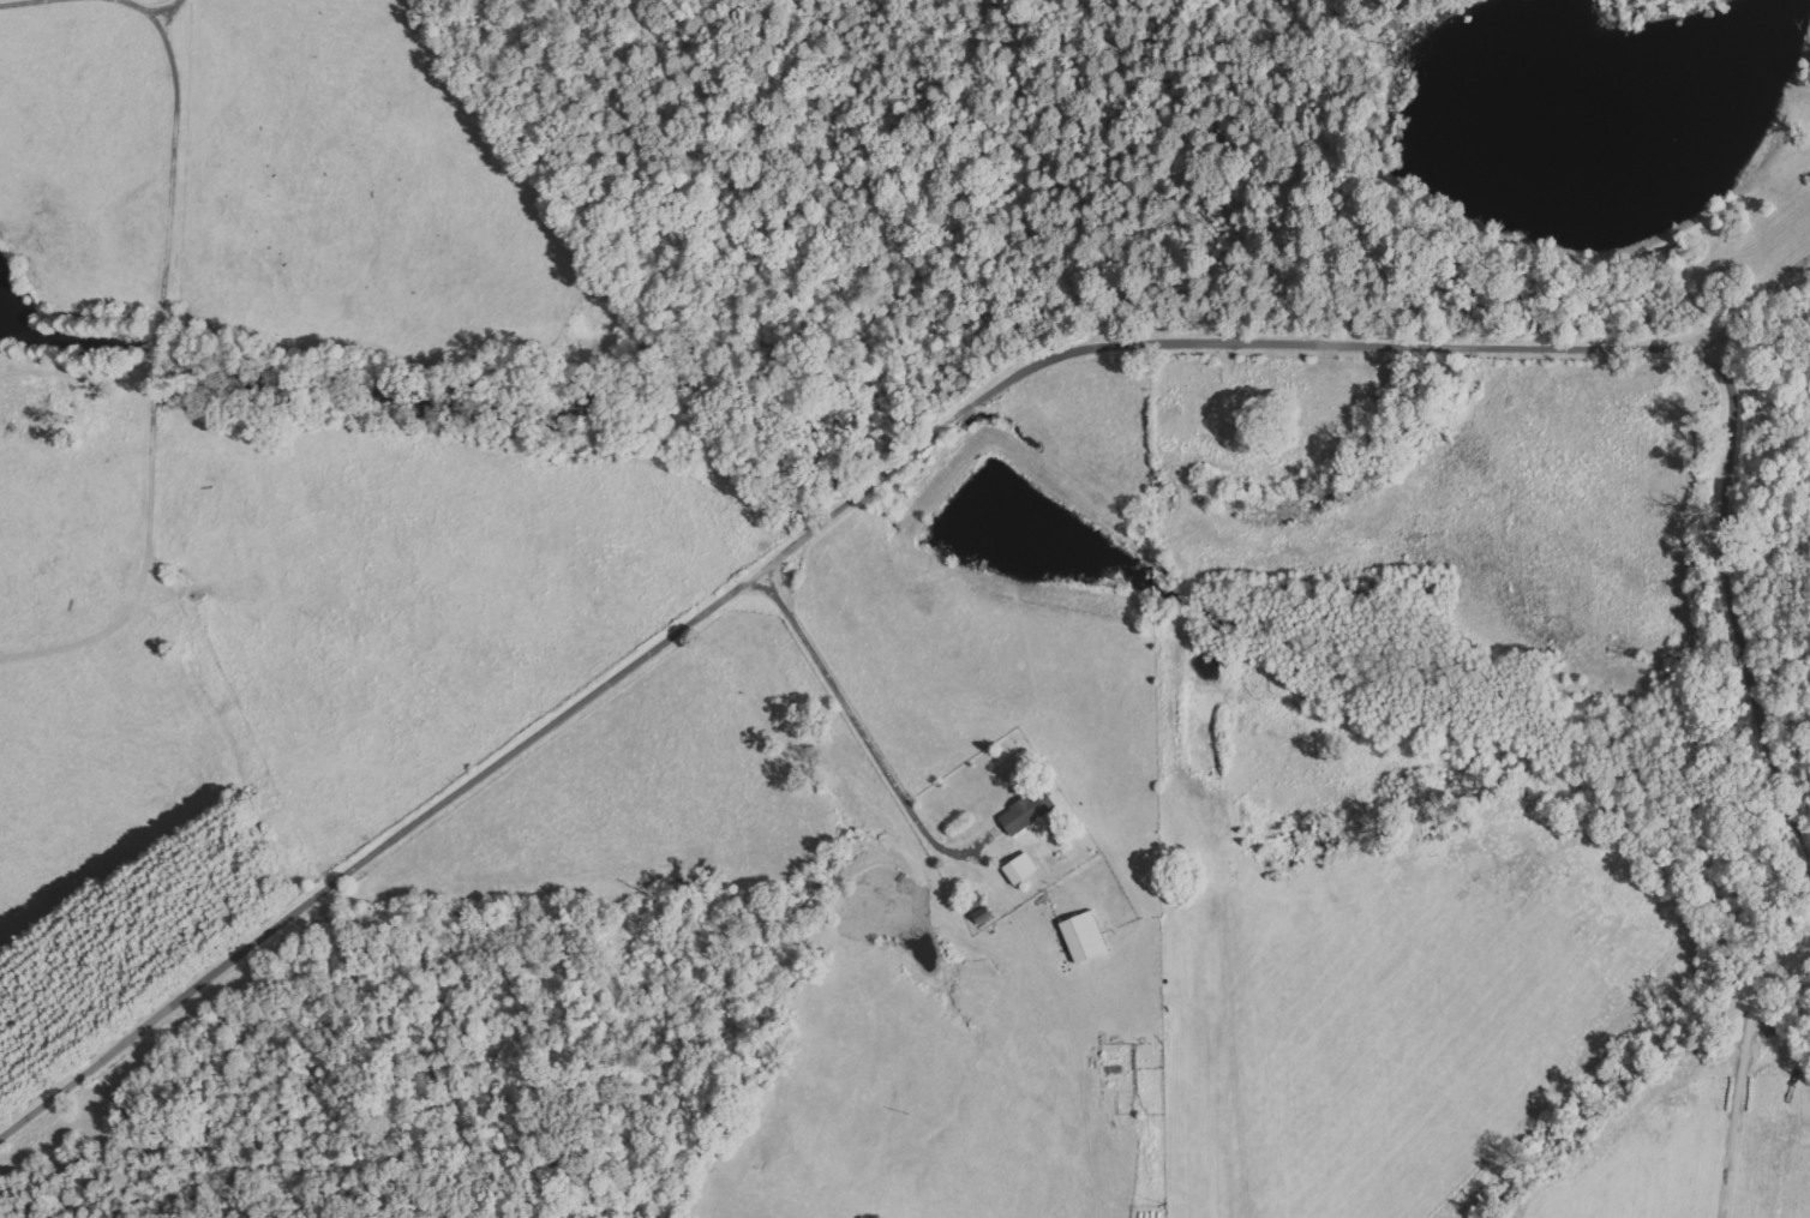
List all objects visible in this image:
road: (996, 389)
building: (1029, 810)
building: (1021, 868)
building: (1085, 936)

